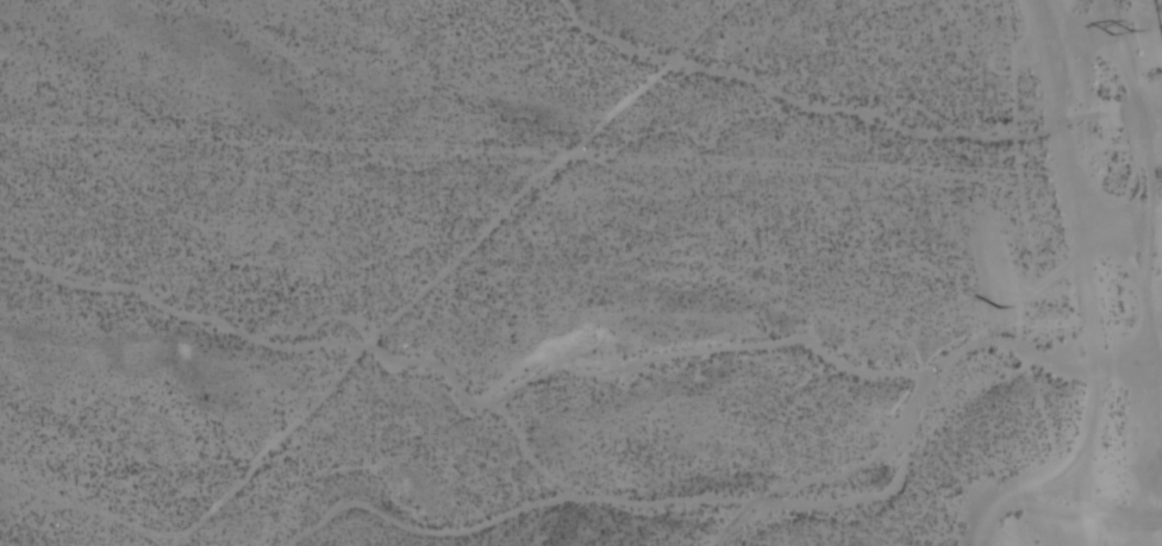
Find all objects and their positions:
power tower: (1123, 30)
power tower: (1000, 307)

